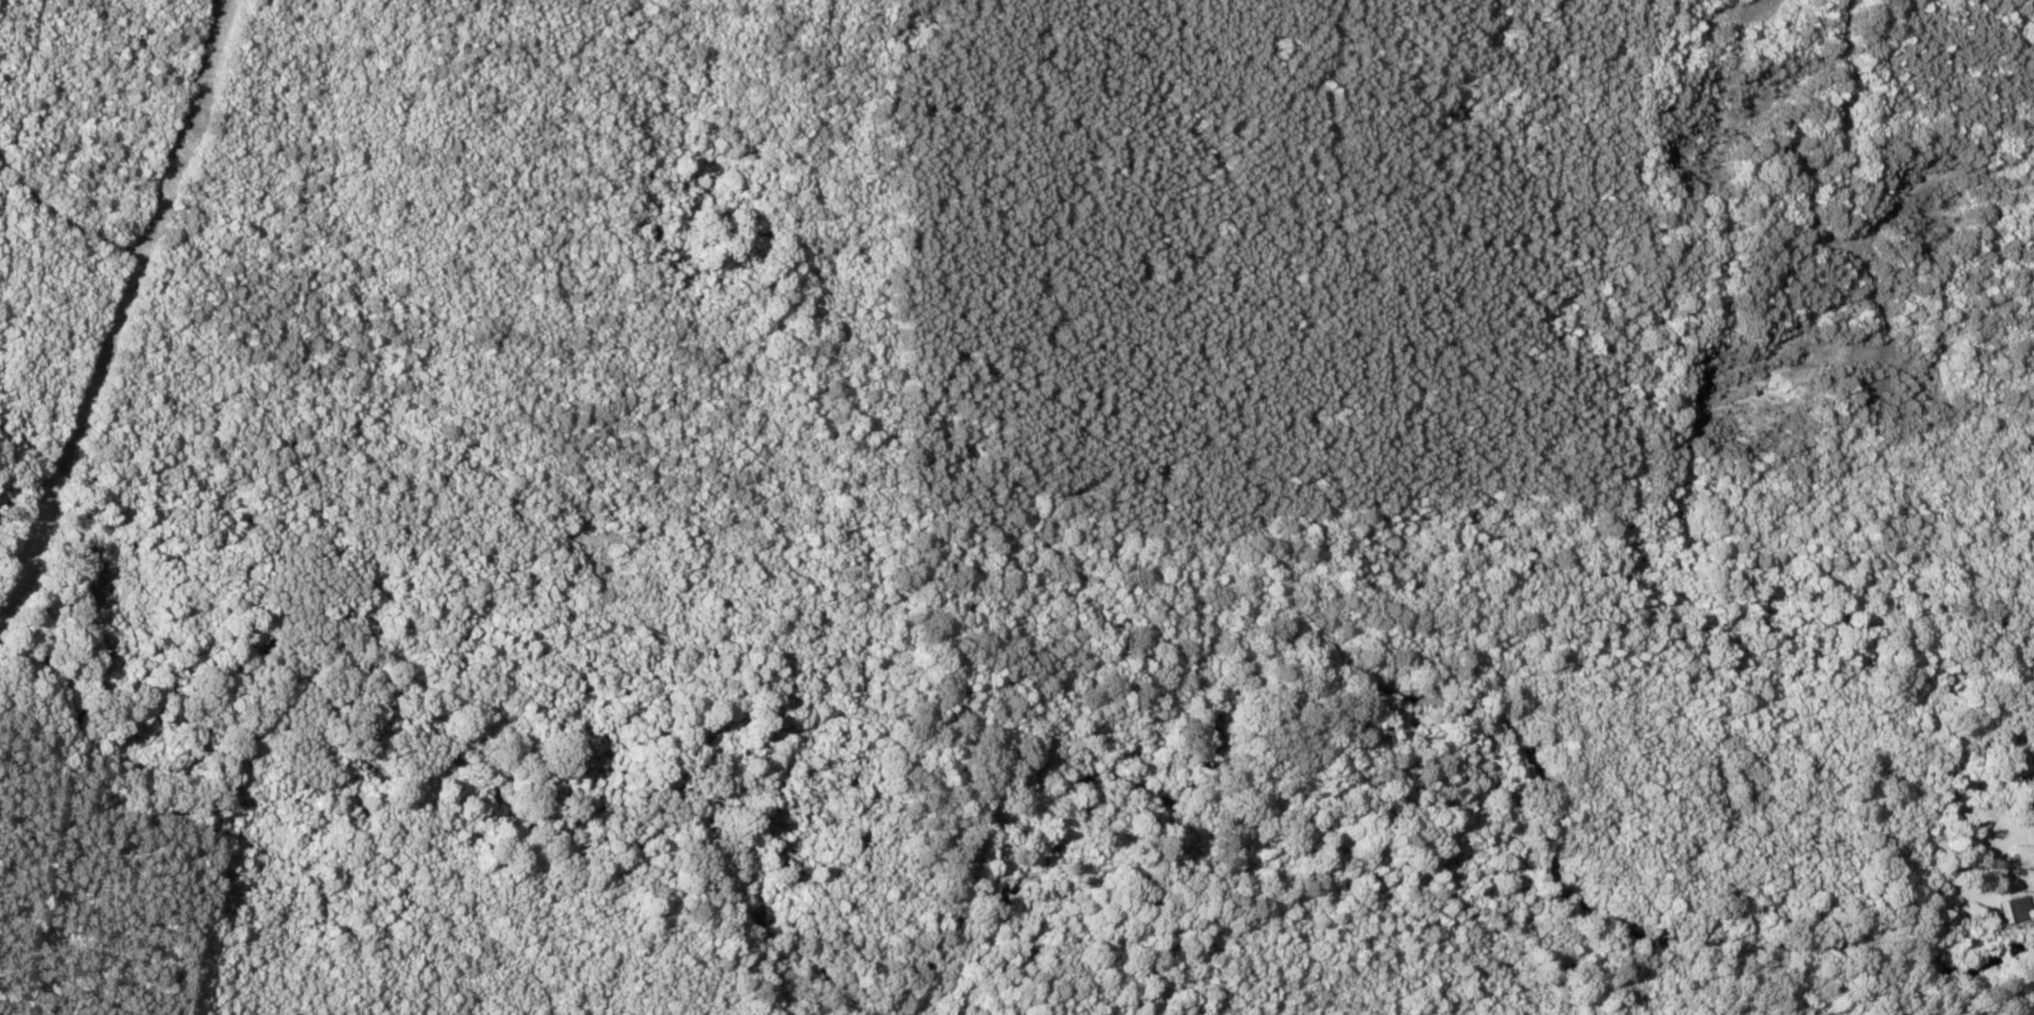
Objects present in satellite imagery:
road: (1934, 193)
building: (2014, 907)

